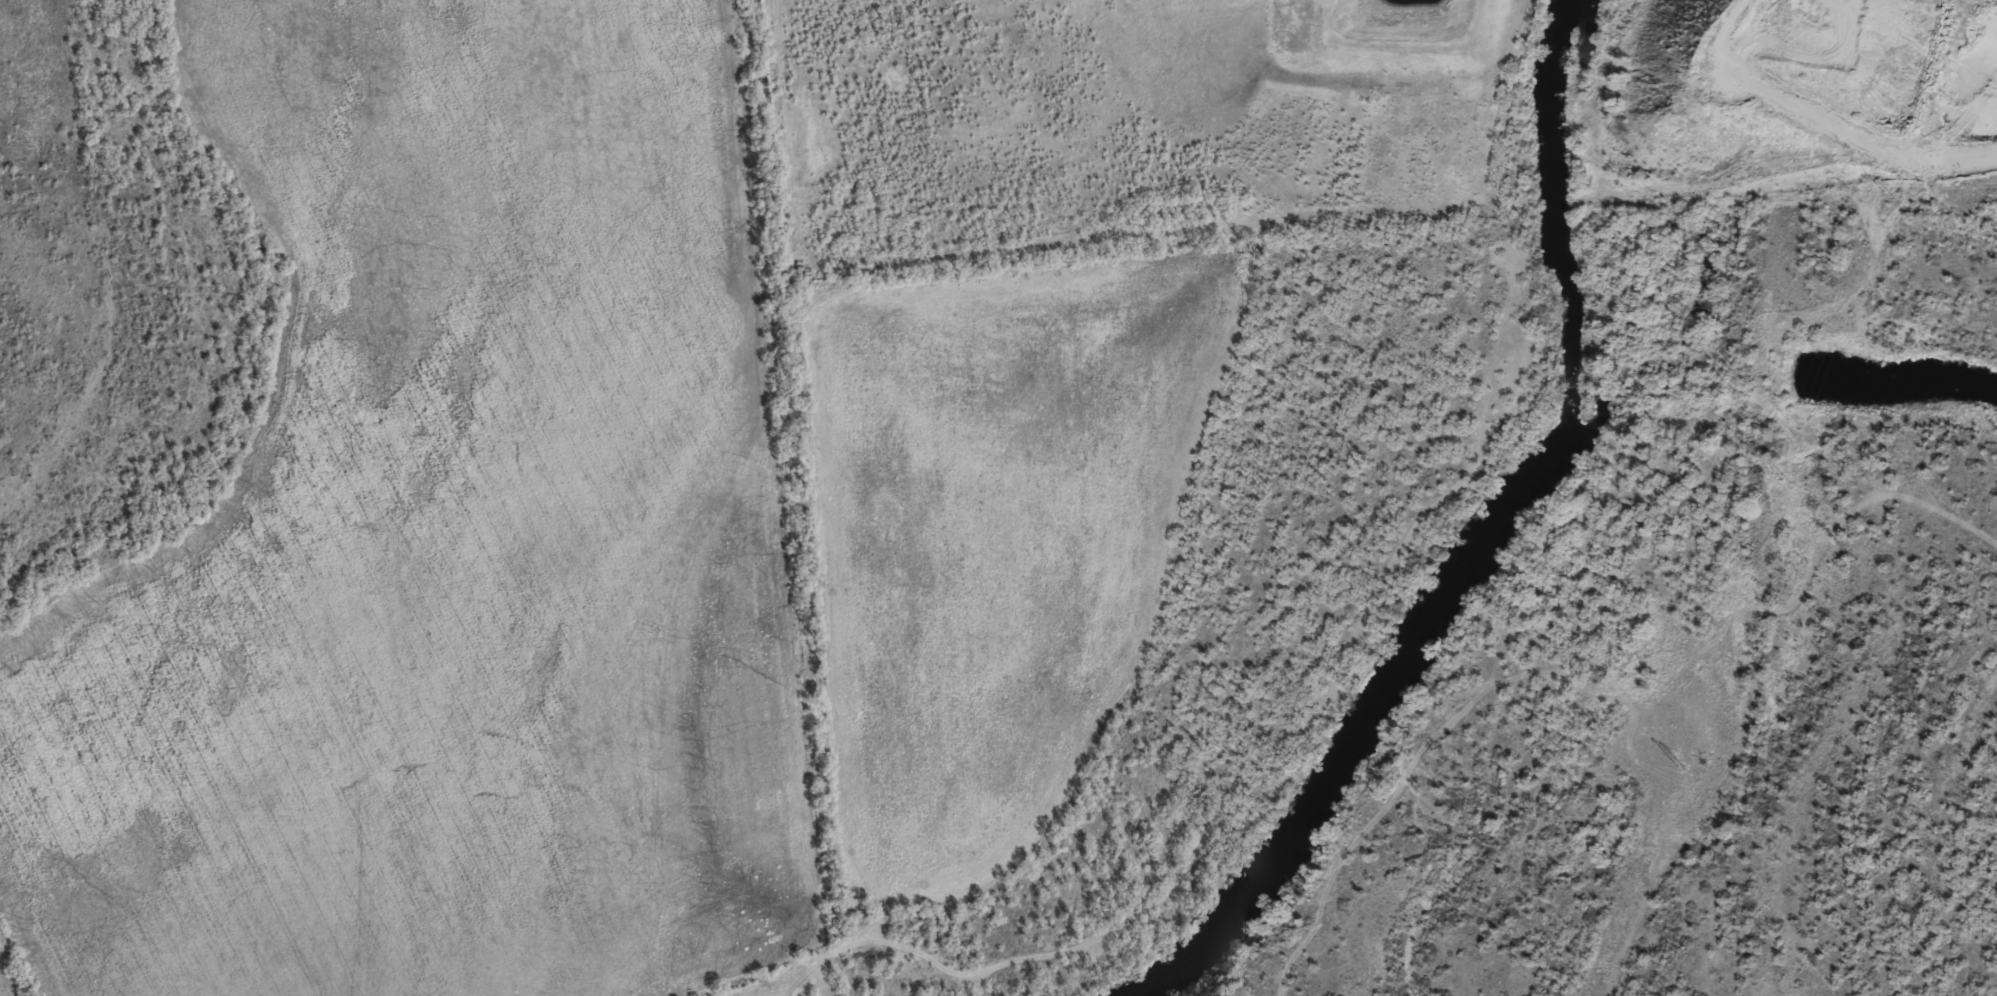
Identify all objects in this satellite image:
power tower: (1891, 196)
power tower: (1786, 481)
power tower: (1681, 767)

